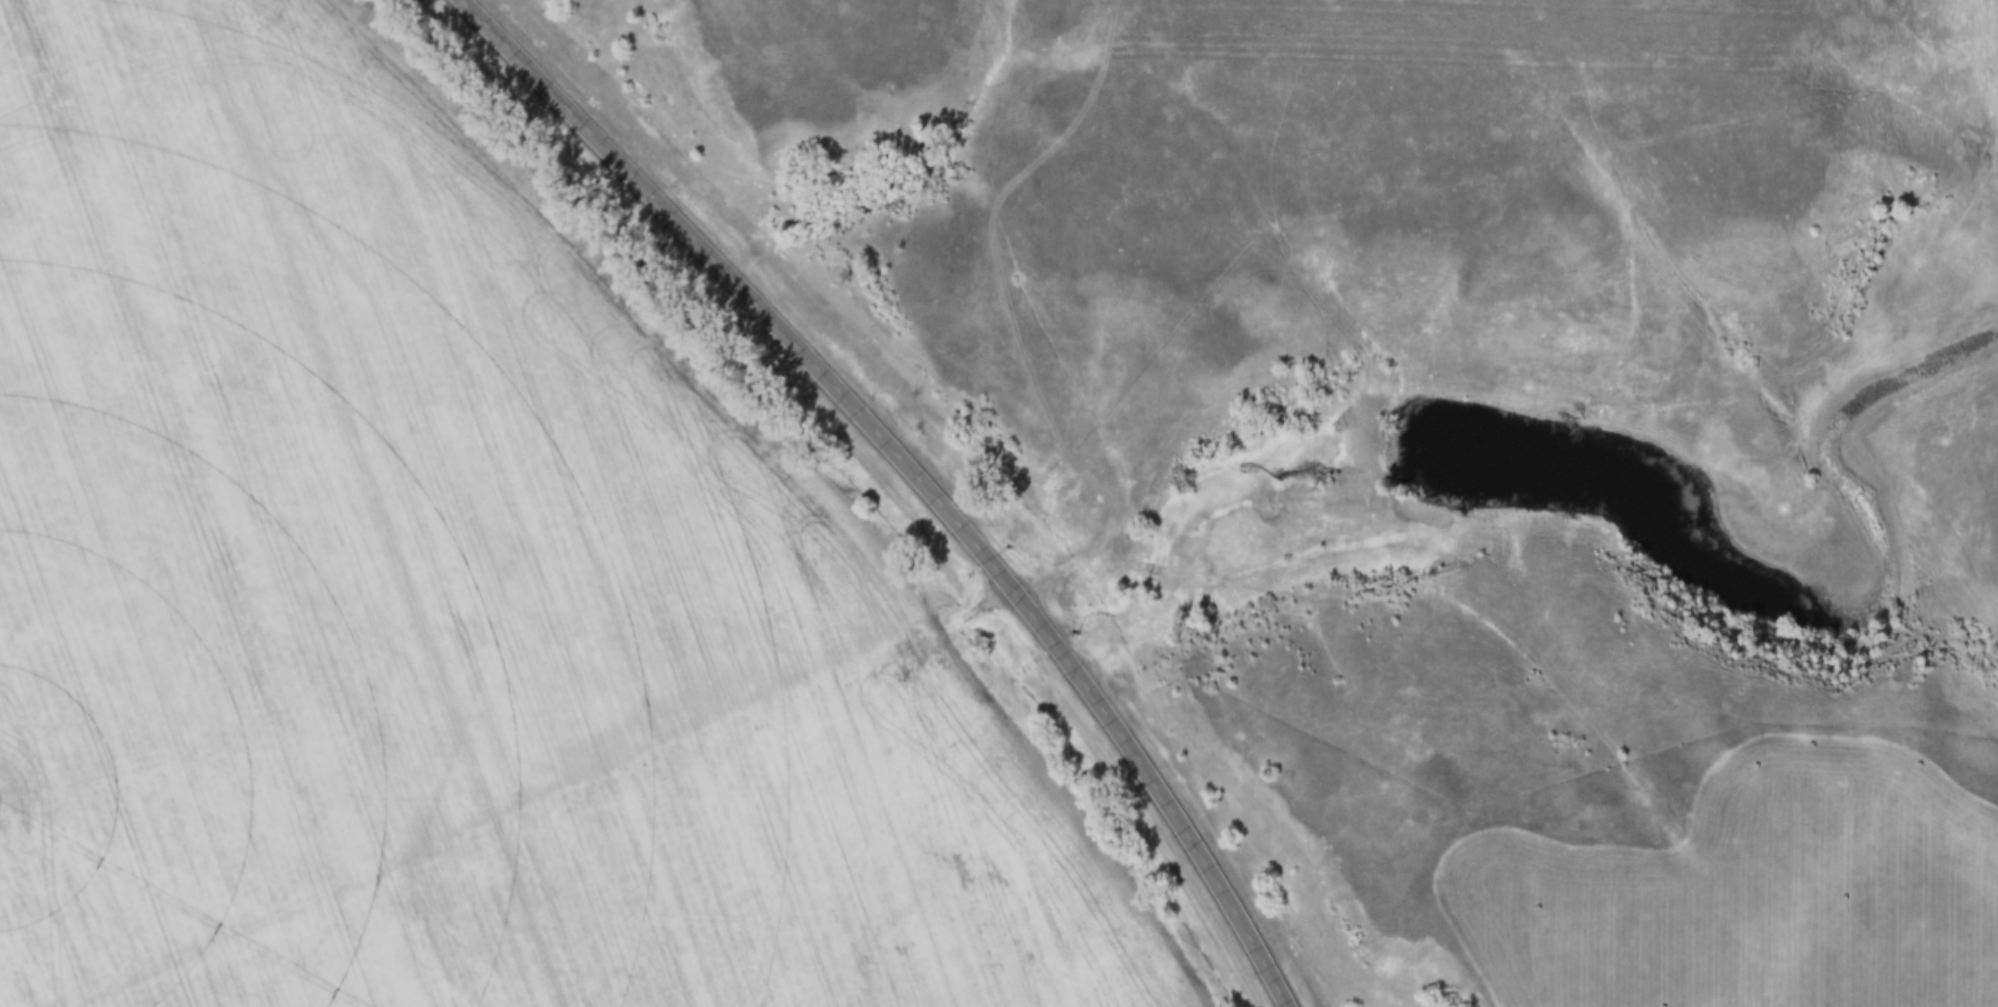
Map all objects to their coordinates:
road: (905, 471)

